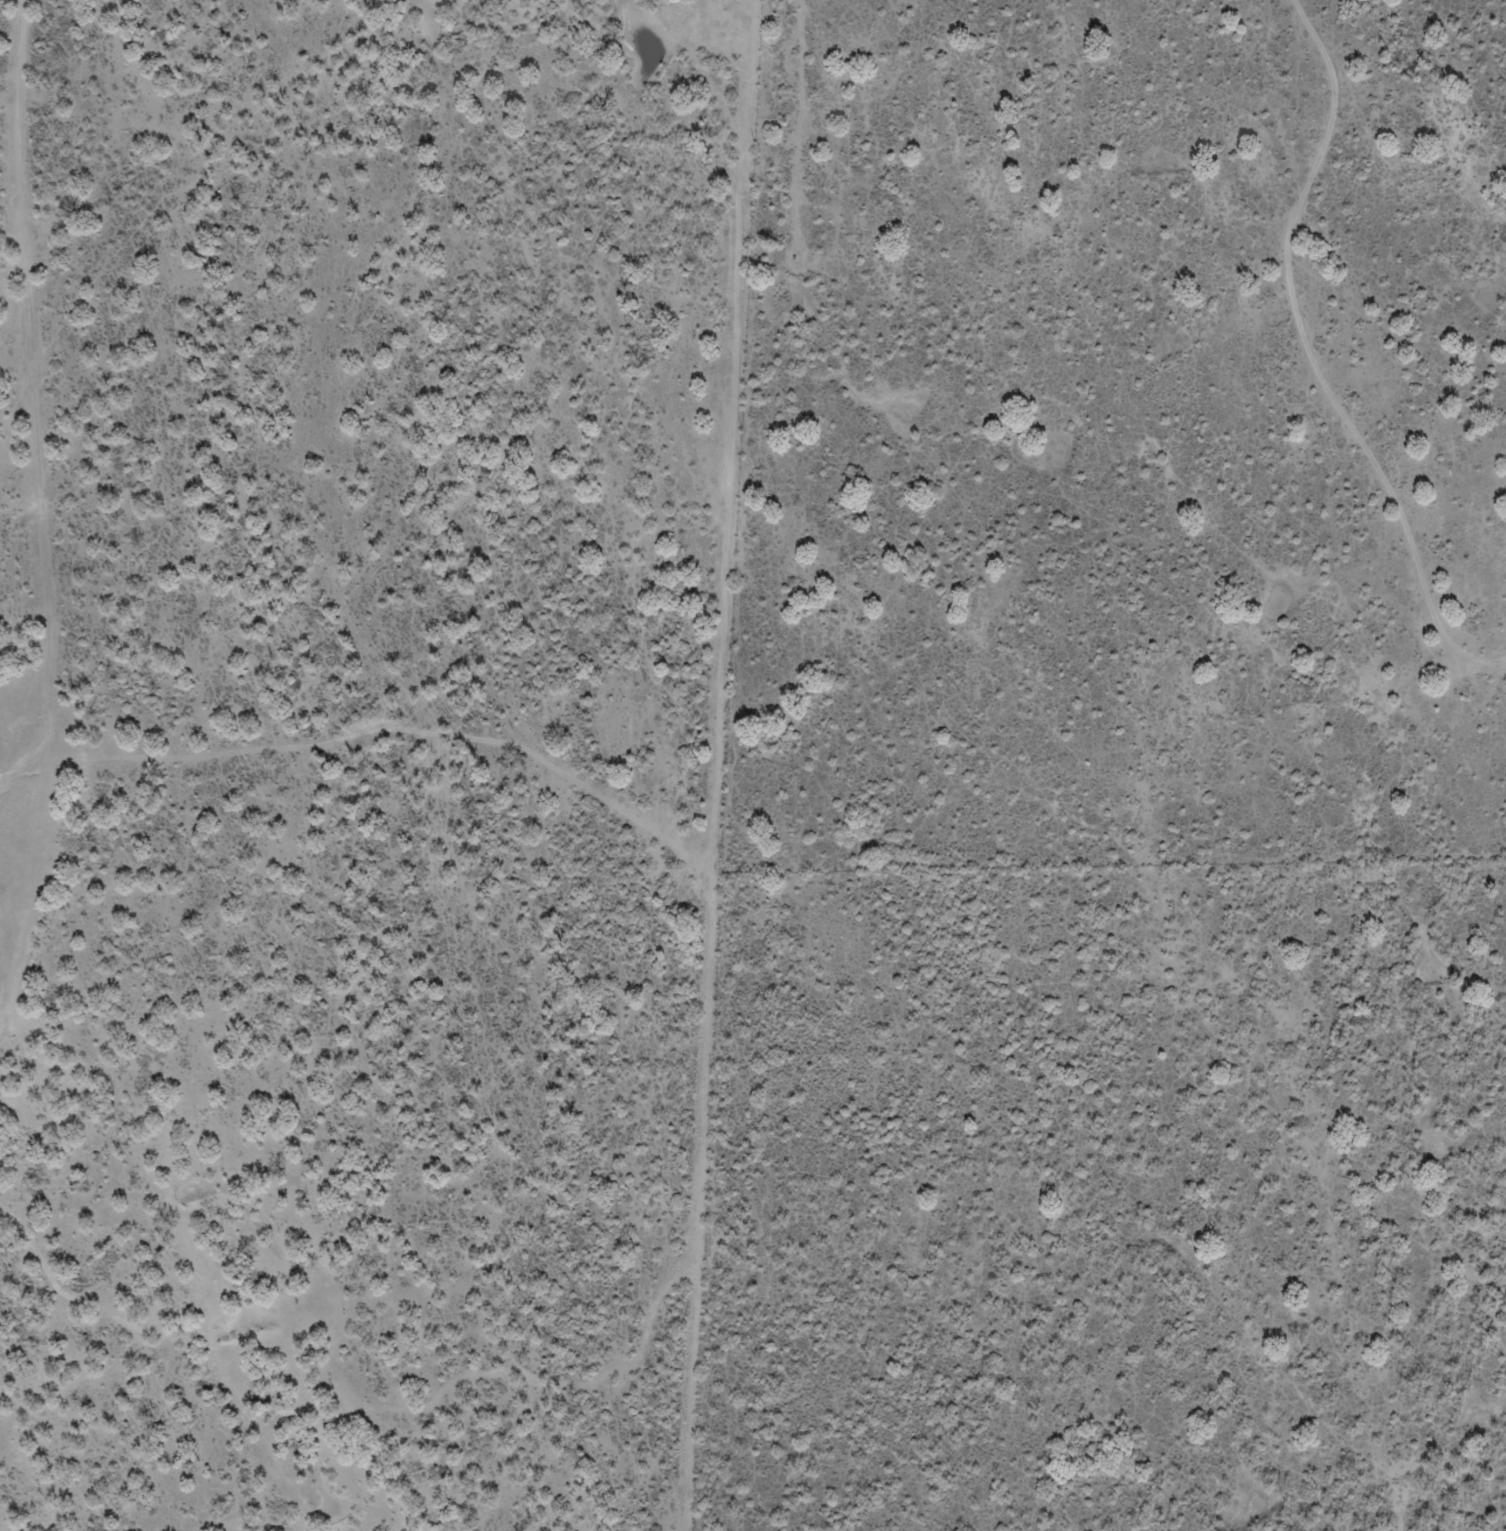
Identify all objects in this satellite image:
road: (1323, 369)
road: (56, 416)
road: (364, 742)

